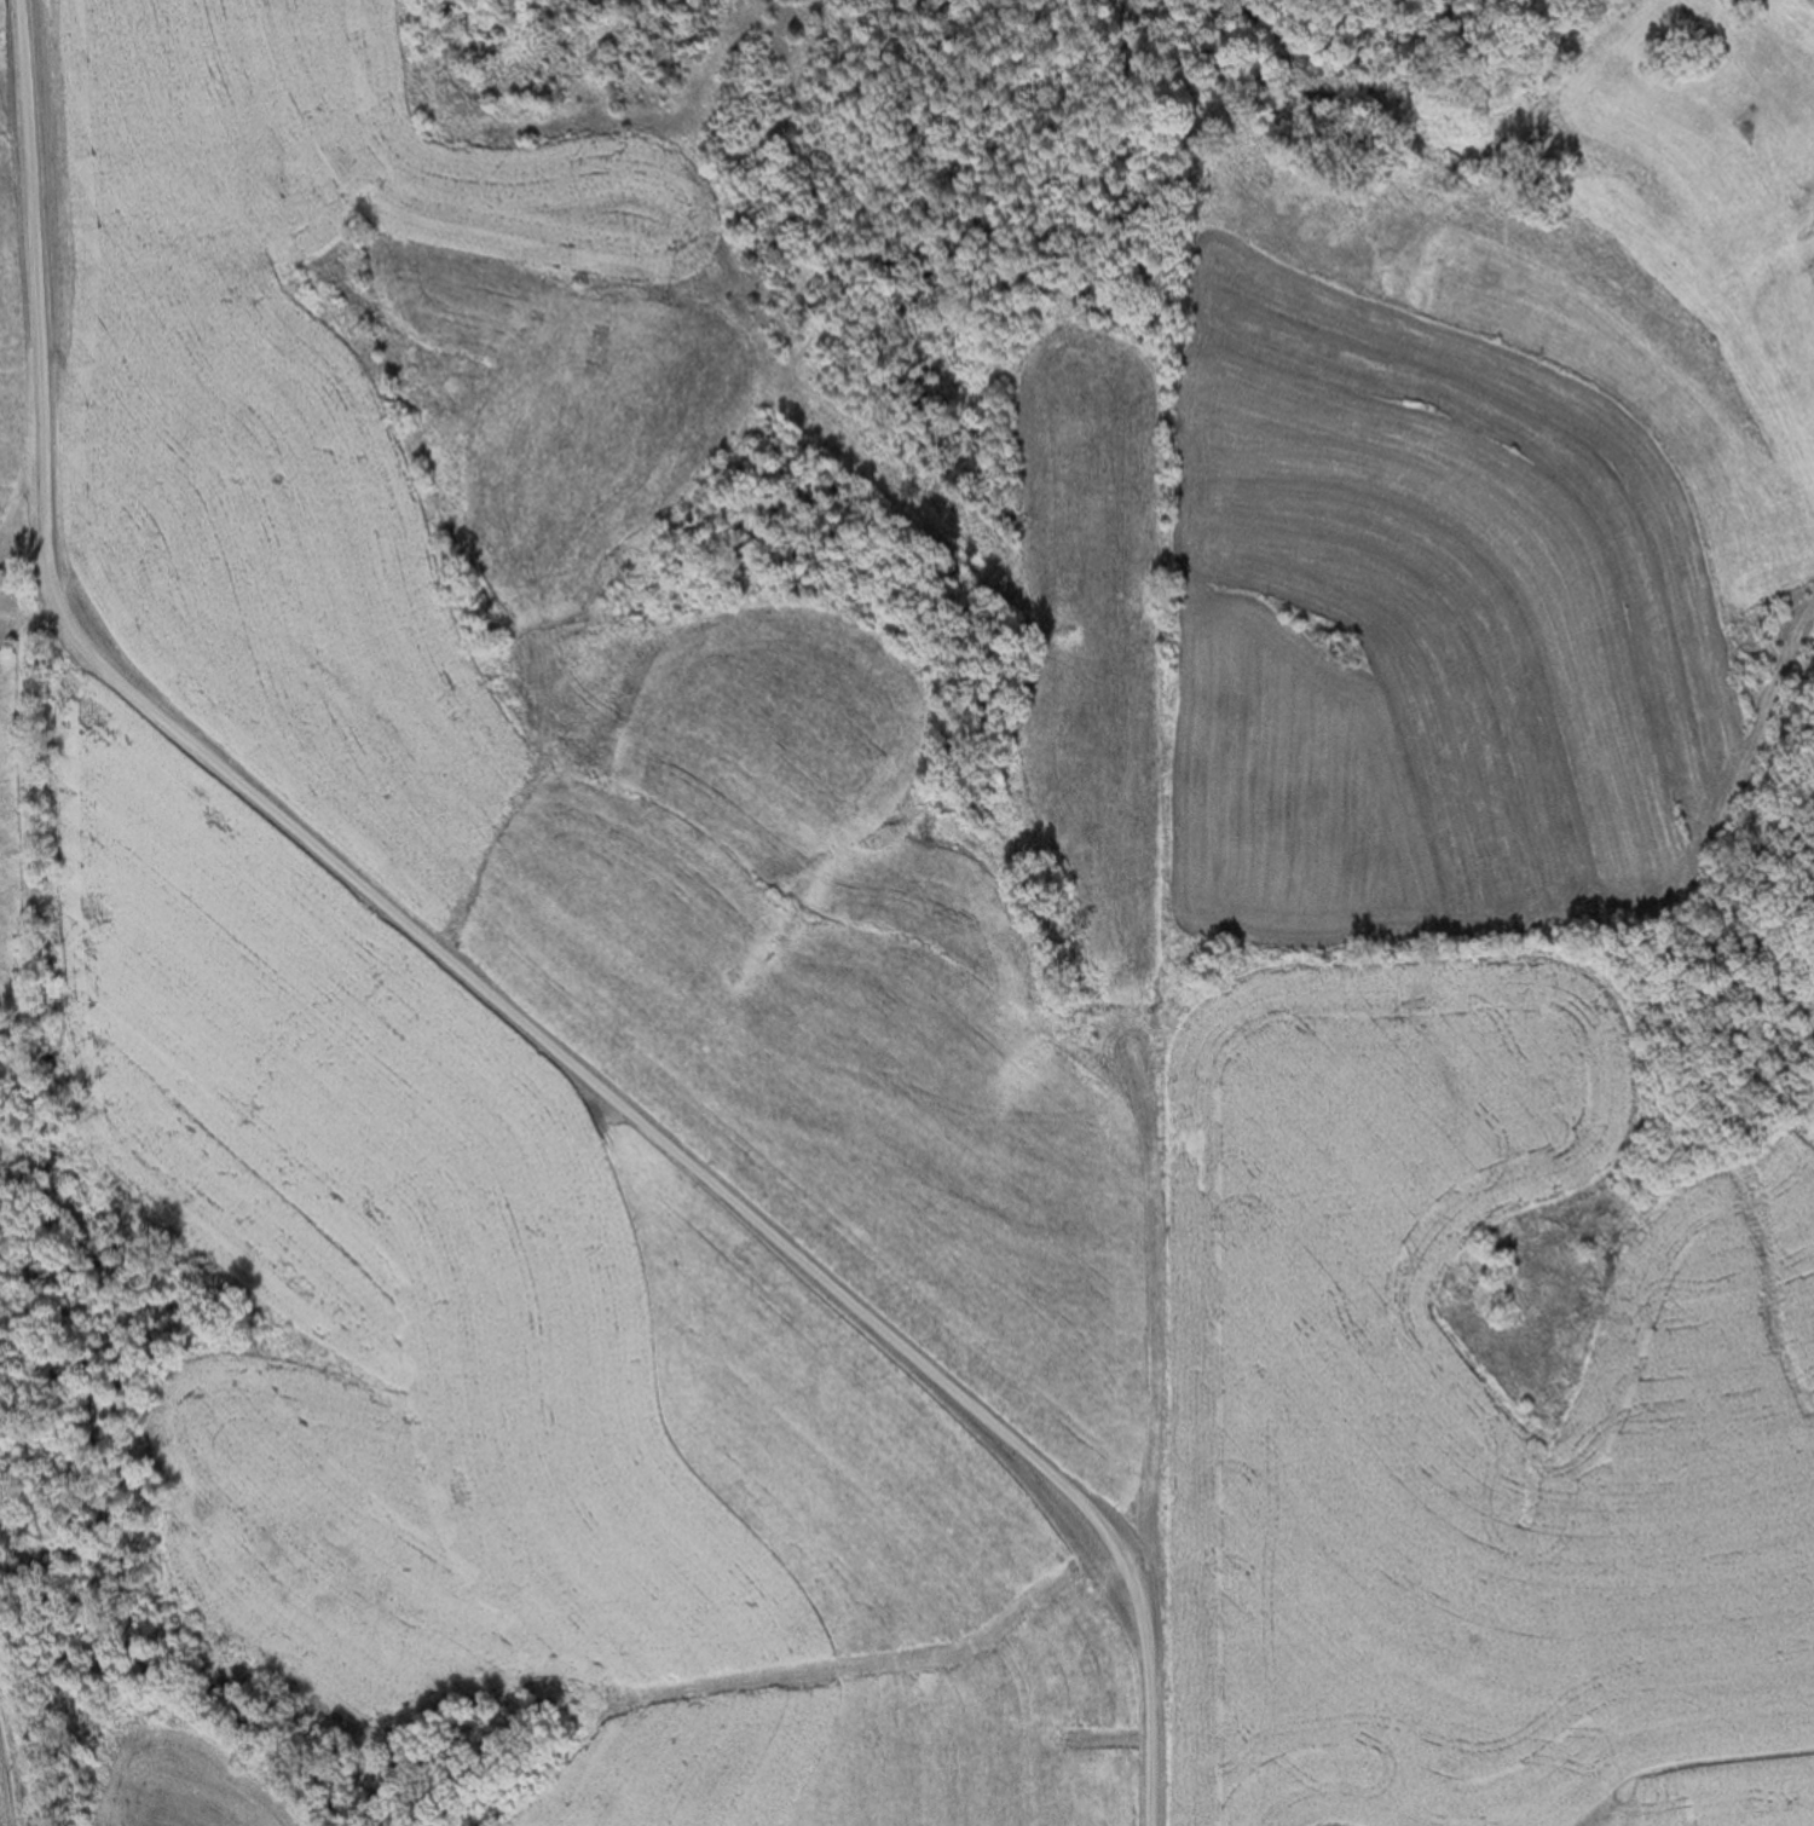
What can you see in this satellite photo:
road: (463, 972)

